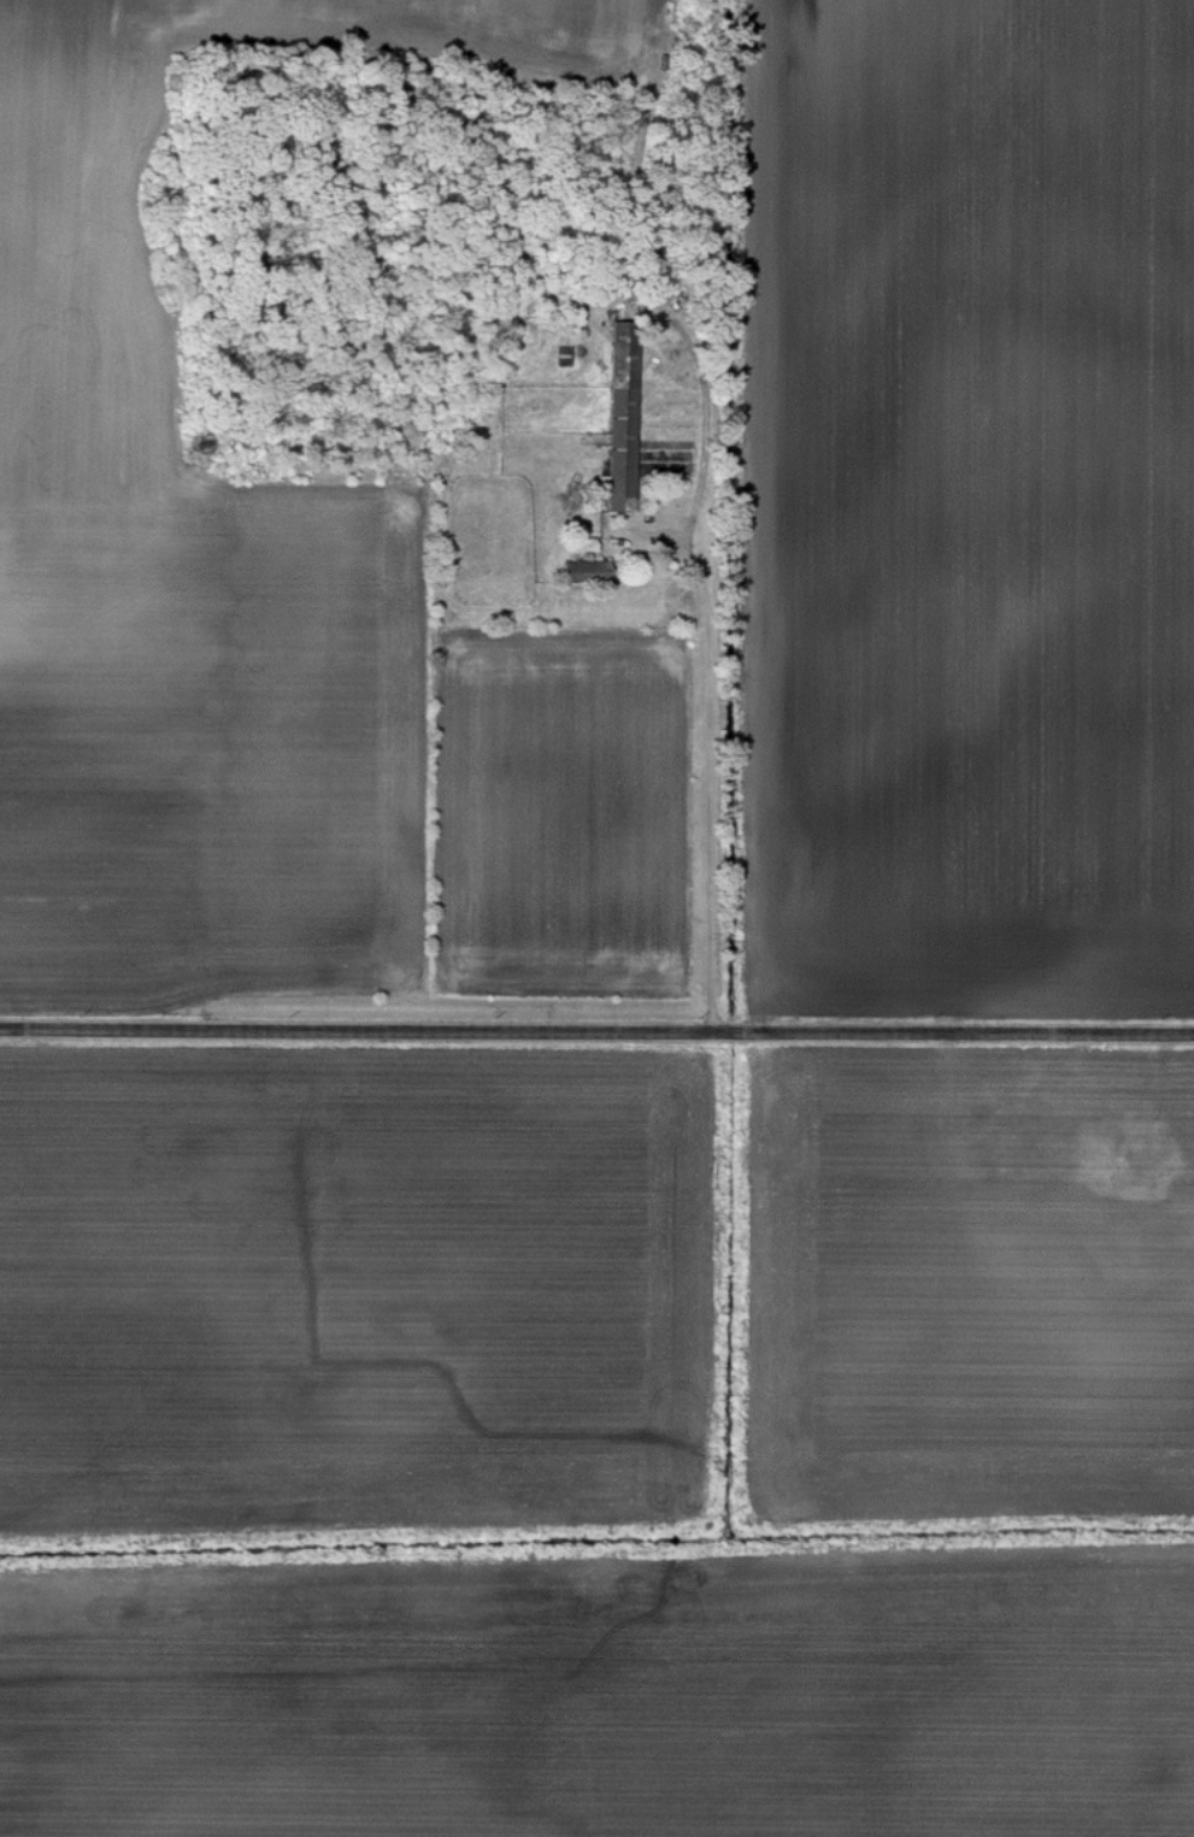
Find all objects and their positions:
building: (624, 417)
road: (596, 1025)

